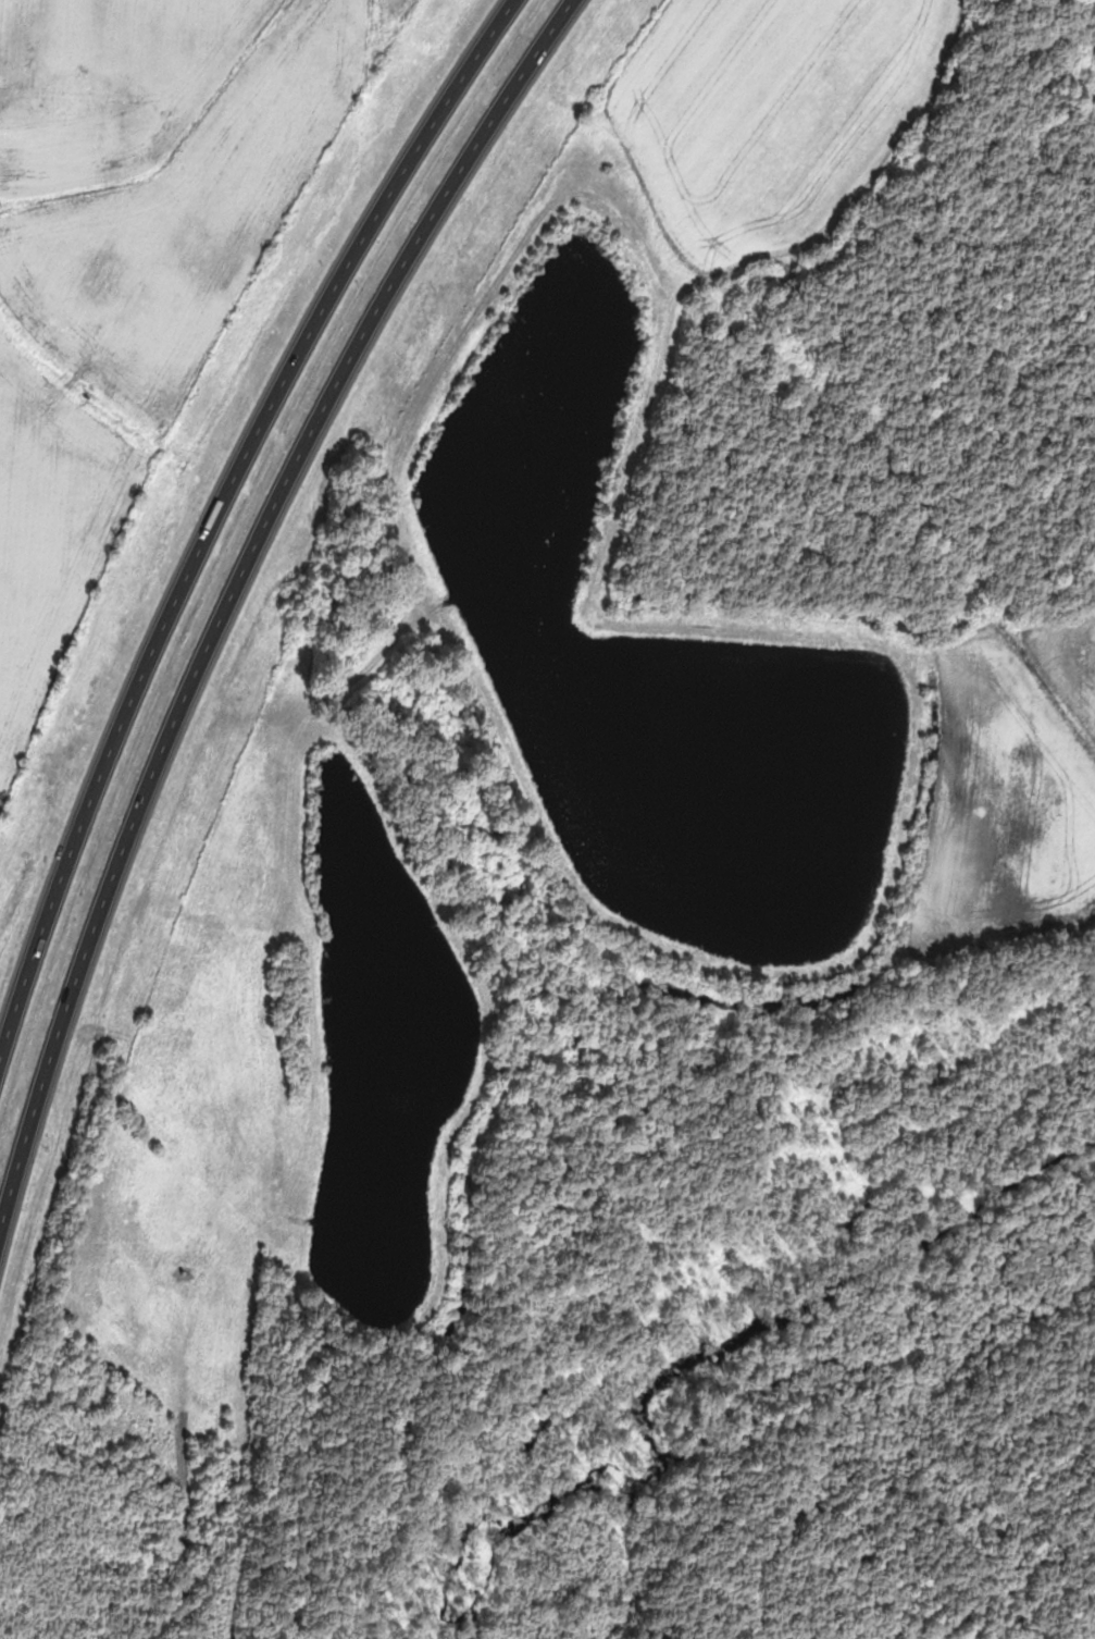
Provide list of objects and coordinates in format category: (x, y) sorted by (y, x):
road: (219, 525)
road: (232, 613)

